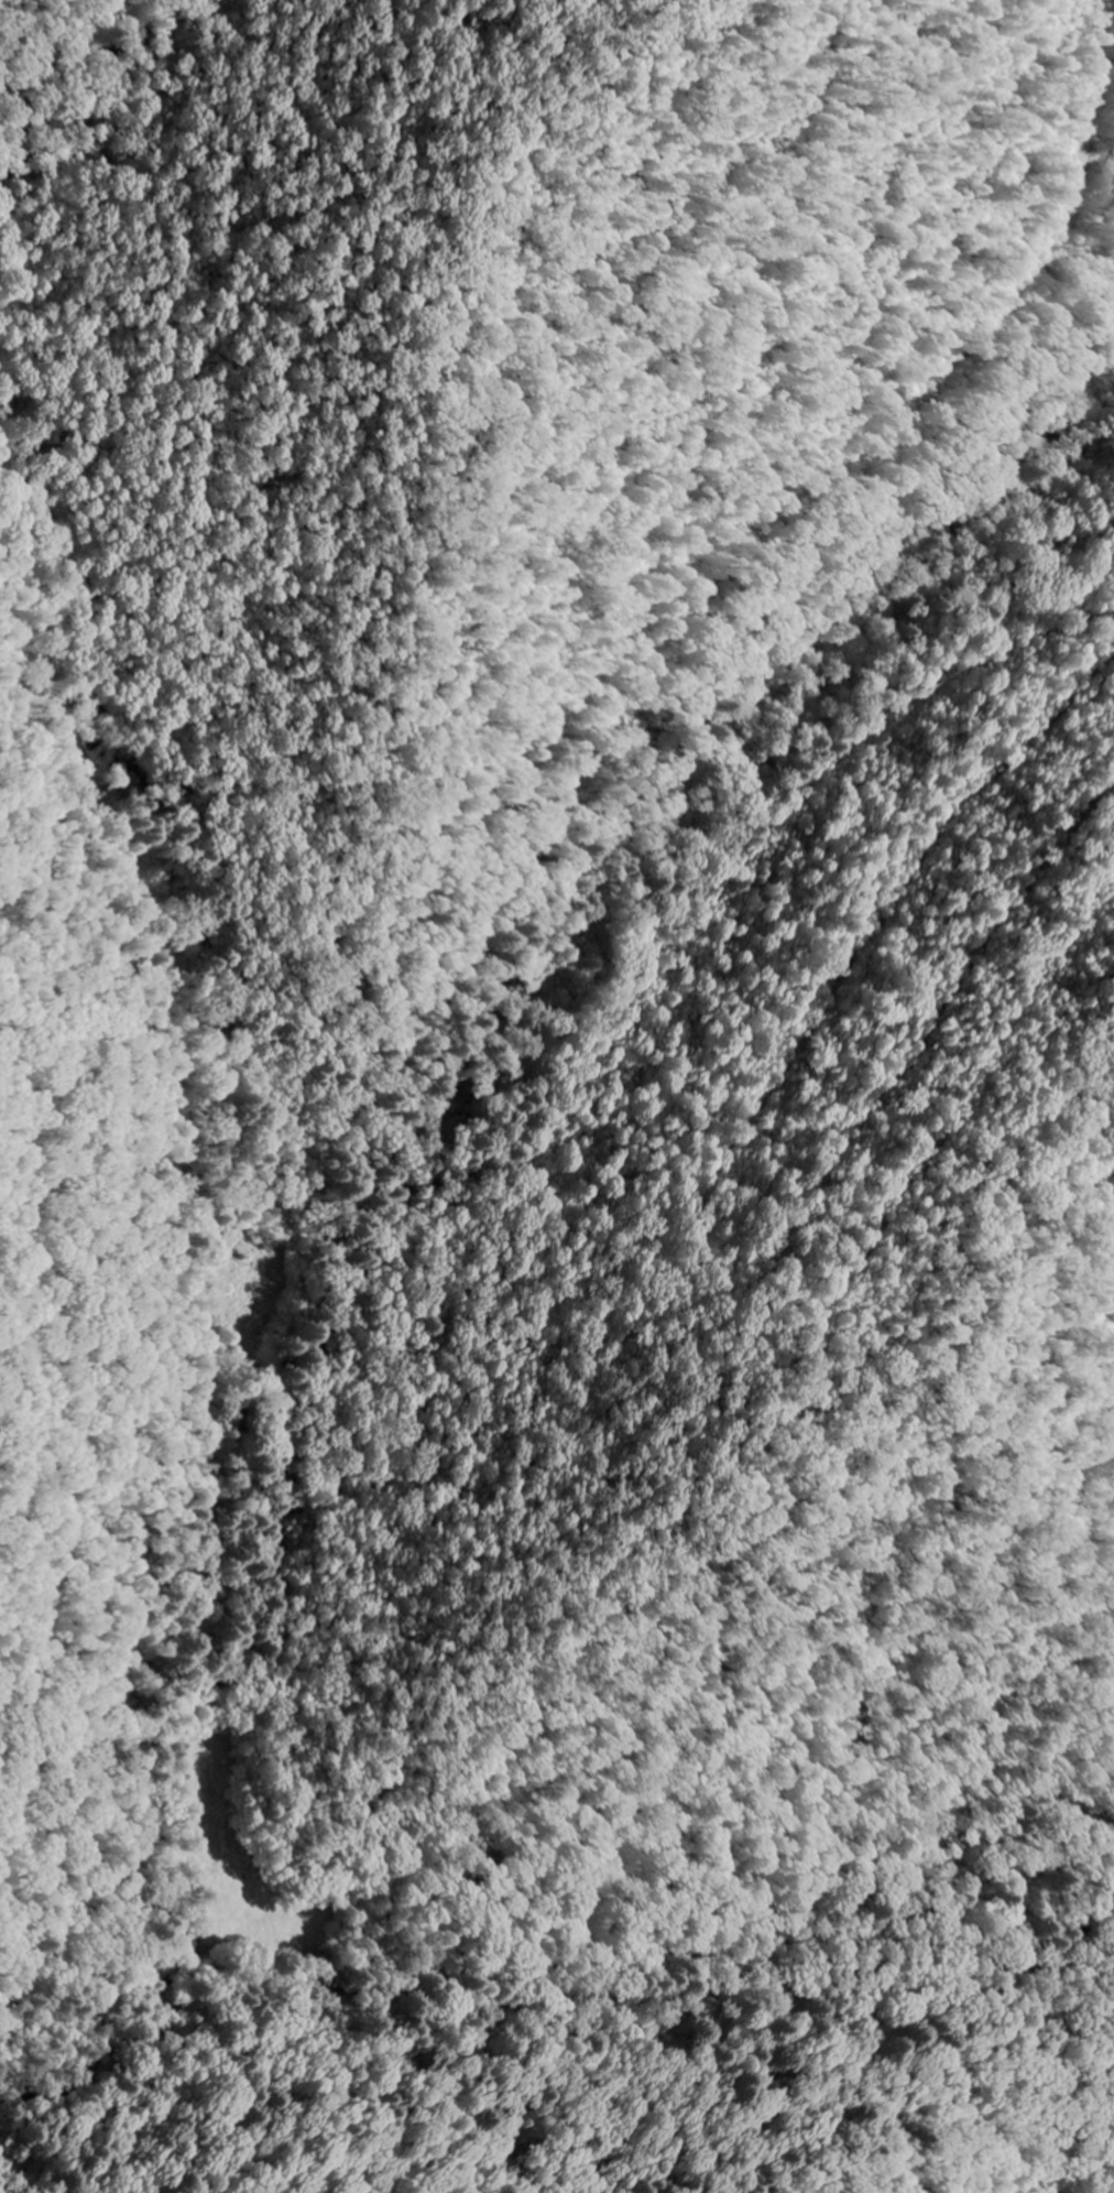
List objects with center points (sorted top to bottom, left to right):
road: (203, 1336)
road: (20, 2000)
road: (607, 2007)
road: (69, 2011)

